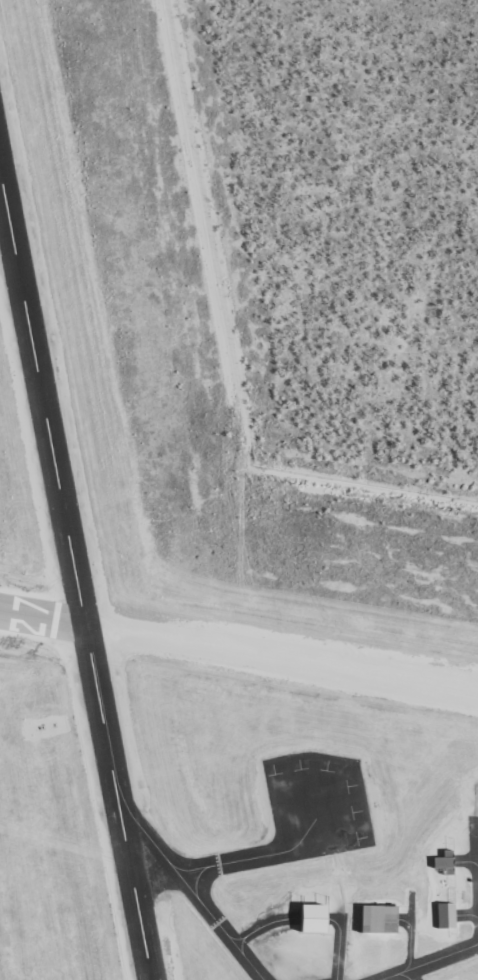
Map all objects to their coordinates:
airport runway: (41, 404)
airport: (198, 589)
airport runway: (41, 619)
airport runway: (116, 803)
airport apron: (315, 805)
airport taxiway: (232, 863)
building: (444, 915)
airport taxiway: (219, 927)
airport taxiway: (430, 962)
road: (436, 963)

